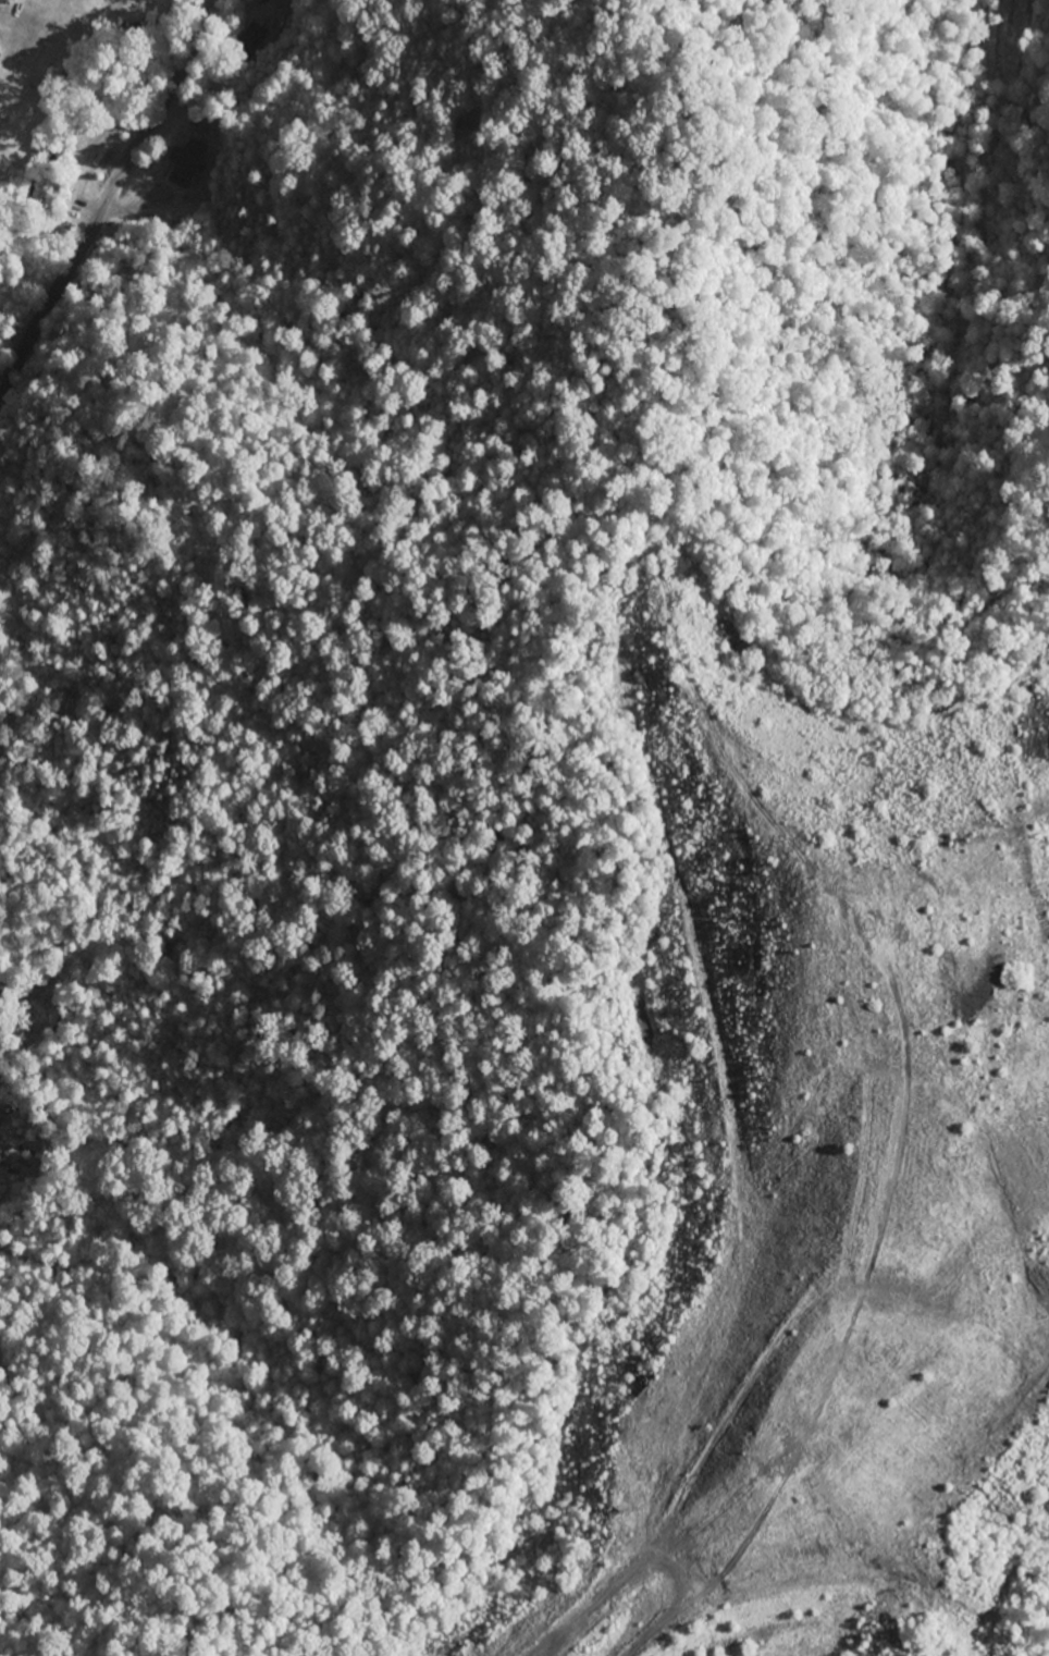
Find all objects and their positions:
road: (174, 16)
building: (252, 42)
road: (361, 77)
building: (186, 162)
road: (103, 209)

